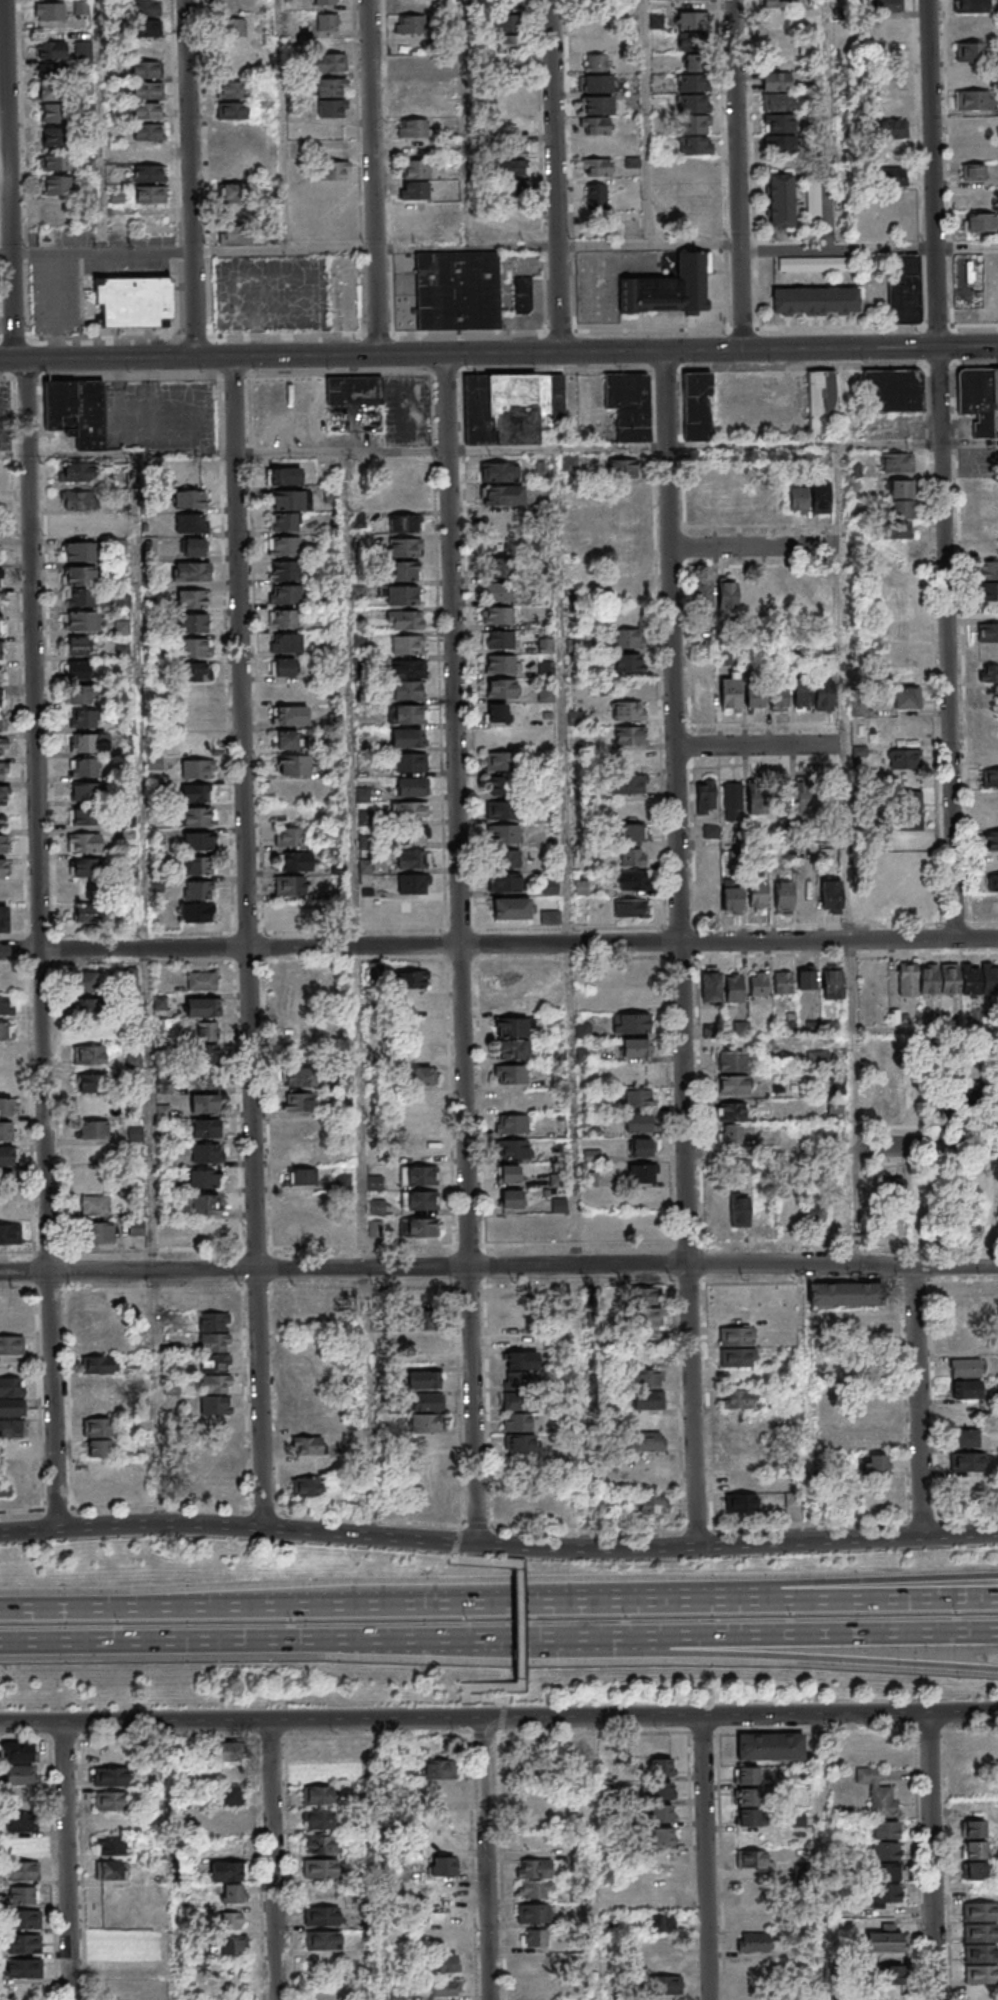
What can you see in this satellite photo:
building: (326, 2)
building: (773, 4)
building: (888, 5)
building: (971, 5)
building: (81, 7)
building: (145, 7)
building: (54, 13)
building: (692, 20)
building: (327, 22)
building: (508, 22)
building: (410, 23)
building: (234, 27)
building: (145, 28)
building: (888, 29)
building: (592, 40)
building: (693, 41)
building: (507, 43)
building: (82, 49)
building: (50, 50)
building: (971, 51)
building: (887, 54)
building: (328, 62)
building: (595, 63)
building: (410, 66)
building: (51, 70)
building: (145, 70)
road: (831, 74)
building: (967, 74)
building: (776, 81)
building: (595, 83)
building: (696, 84)
building: (330, 87)
building: (146, 90)
building: (49, 91)
building: (232, 91)
building: (974, 99)
building: (778, 102)
building: (598, 105)
building: (407, 106)
building: (697, 106)
building: (331, 108)
building: (147, 110)
building: (53, 112)
building: (230, 113)
road: (648, 123)
building: (779, 123)
road: (473, 124)
building: (596, 124)
road: (286, 125)
road: (102, 126)
building: (413, 127)
building: (893, 129)
building: (148, 131)
building: (52, 136)
building: (779, 143)
building: (698, 147)
building: (515, 149)
building: (149, 152)
building: (56, 161)
road: (917, 165)
road: (946, 165)
building: (599, 166)
building: (511, 167)
building: (414, 169)
building: (335, 170)
building: (973, 171)
building: (149, 173)
road: (742, 175)
road: (554, 176)
building: (892, 176)
road: (377, 177)
road: (189, 179)
building: (57, 186)
building: (408, 191)
building: (515, 191)
building: (150, 194)
building: (234, 194)
building: (596, 196)
building: (978, 197)
building: (781, 200)
building: (813, 204)
building: (416, 211)
road: (937, 222)
building: (980, 222)
building: (415, 231)
building: (233, 235)
road: (968, 245)
road: (650, 246)
road: (798, 249)
road: (286, 250)
building: (670, 287)
building: (905, 288)
building: (460, 292)
building: (521, 296)
building: (133, 300)
building: (815, 300)
road: (56, 305)
road: (542, 336)
road: (43, 343)
road: (508, 353)
road: (9, 360)
building: (355, 390)
building: (893, 390)
building: (979, 399)
building: (821, 400)
building: (630, 405)
building: (698, 406)
building: (513, 407)
building: (76, 410)
road: (616, 449)
road: (80, 457)
building: (897, 461)
building: (622, 468)
building: (498, 471)
building: (77, 472)
building: (283, 477)
building: (502, 494)
building: (331, 495)
building: (820, 496)
building: (190, 498)
building: (797, 498)
building: (900, 499)
building: (290, 500)
building: (77, 501)
building: (622, 517)
building: (283, 522)
building: (191, 523)
building: (403, 523)
building: (78, 528)
building: (987, 528)
building: (901, 541)
building: (284, 545)
building: (193, 547)
building: (404, 547)
road: (757, 547)
building: (78, 553)
building: (624, 566)
building: (283, 570)
building: (988, 570)
building: (191, 571)
building: (403, 572)
building: (78, 577)
building: (0, 578)
building: (989, 591)
building: (498, 592)
building: (824, 593)
building: (285, 594)
building: (727, 594)
building: (897, 594)
building: (702, 595)
building: (751, 595)
building: (403, 596)
building: (78, 599)
building: (192, 599)
building: (497, 615)
building: (283, 618)
building: (407, 620)
building: (81, 622)
building: (328, 622)
building: (193, 623)
building: (1, 626)
building: (497, 639)
building: (628, 640)
building: (285, 643)
building: (407, 645)
building: (77, 647)
building: (194, 647)
building: (0, 650)
building: (988, 652)
building: (902, 654)
building: (629, 663)
building: (500, 664)
building: (283, 667)
building: (545, 668)
building: (409, 669)
building: (76, 671)
building: (193, 673)
building: (0, 675)
building: (500, 688)
building: (408, 690)
building: (289, 691)
road: (952, 692)
building: (545, 693)
building: (729, 693)
building: (802, 694)
building: (824, 694)
building: (81, 696)
building: (905, 697)
building: (1, 698)
building: (754, 698)
building: (778, 698)
building: (627, 711)
building: (495, 712)
building: (406, 714)
building: (289, 716)
building: (84, 720)
building: (1, 723)
building: (629, 735)
building: (405, 738)
building: (286, 741)
building: (89, 743)
road: (763, 745)
building: (3, 747)
building: (990, 757)
building: (904, 758)
building: (501, 760)
building: (409, 762)
road: (32, 764)
building: (294, 766)
building: (85, 767)
building: (197, 768)
building: (3, 771)
building: (990, 778)
building: (629, 784)
building: (502, 785)
building: (411, 786)
building: (86, 792)
building: (197, 792)
building: (2, 795)
building: (705, 796)
road: (848, 796)
building: (757, 797)
building: (811, 797)
building: (732, 800)
building: (630, 809)
building: (990, 809)
building: (410, 810)
building: (502, 810)
building: (905, 810)
building: (85, 816)
building: (198, 816)
building: (632, 832)
building: (503, 833)
building: (412, 835)
building: (289, 836)
building: (550, 837)
building: (198, 841)
building: (2, 843)
building: (84, 843)
building: (632, 857)
building: (411, 858)
building: (506, 859)
building: (296, 861)
building: (197, 864)
building: (2, 867)
building: (85, 867)
building: (632, 880)
building: (706, 880)
building: (504, 882)
building: (412, 883)
building: (291, 885)
building: (198, 889)
building: (82, 890)
building: (4, 892)
building: (992, 892)
building: (831, 895)
building: (732, 896)
building: (757, 897)
building: (783, 897)
building: (511, 908)
building: (631, 908)
building: (406, 909)
building: (196, 912)
building: (85, 913)
building: (550, 916)
building: (4, 919)
road: (840, 942)
road: (245, 943)
road: (341, 947)
road: (683, 948)
road: (459, 949)
building: (529, 972)
building: (129, 977)
building: (928, 978)
building: (950, 978)
building: (412, 979)
building: (805, 979)
building: (979, 979)
building: (201, 980)
building: (908, 980)
building: (83, 981)
building: (782, 982)
building: (758, 983)
building: (832, 983)
building: (711, 987)
building: (734, 987)
road: (150, 990)
road: (361, 995)
road: (574, 999)
building: (87, 1005)
building: (6, 1006)
building: (201, 1007)
building: (630, 1022)
building: (510, 1026)
building: (91, 1029)
building: (583, 1030)
building: (6, 1031)
building: (205, 1032)
building: (635, 1047)
building: (511, 1048)
building: (89, 1056)
building: (734, 1061)
building: (510, 1073)
building: (636, 1073)
building: (422, 1076)
building: (298, 1078)
building: (206, 1081)
building: (90, 1085)
building: (732, 1085)
building: (636, 1098)
building: (890, 1101)
building: (297, 1102)
building: (205, 1105)
building: (6, 1106)
building: (730, 1111)
building: (637, 1123)
building: (511, 1124)
building: (299, 1127)
building: (205, 1129)
building: (93, 1130)
building: (6, 1131)
building: (732, 1133)
road: (928, 1146)
building: (640, 1148)
building: (510, 1149)
building: (205, 1153)
building: (6, 1157)
building: (507, 1173)
building: (640, 1173)
building: (416, 1175)
building: (299, 1177)
building: (204, 1178)
building: (6, 1181)
building: (983, 1188)
building: (95, 1191)
building: (511, 1199)
building: (418, 1200)
building: (893, 1203)
building: (200, 1204)
building: (7, 1206)
building: (377, 1206)
road: (859, 1207)
building: (739, 1210)
building: (845, 1215)
building: (416, 1227)
building: (511, 1228)
building: (99, 1232)
building: (204, 1232)
building: (9, 1233)
road: (499, 1266)
building: (858, 1294)
building: (167, 1298)
building: (647, 1316)
building: (513, 1318)
building: (867, 1318)
building: (315, 1323)
building: (11, 1324)
building: (737, 1335)
building: (428, 1340)
building: (12, 1345)
building: (214, 1353)
building: (736, 1357)
building: (97, 1364)
building: (964, 1368)
building: (424, 1379)
building: (647, 1379)
building: (97, 1385)
building: (12, 1386)
building: (965, 1389)
building: (518, 1390)
building: (648, 1400)
road: (921, 1402)
building: (304, 1403)
road: (811, 1403)
building: (12, 1407)
building: (98, 1407)
building: (737, 1409)
building: (425, 1412)
building: (12, 1427)
building: (98, 1427)
building: (966, 1437)
building: (647, 1441)
building: (521, 1443)
building: (306, 1445)
building: (98, 1448)
building: (741, 1460)
building: (966, 1461)
building: (875, 1462)
building: (305, 1465)
building: (13, 1469)
building: (306, 1487)
building: (5, 1489)
building: (740, 1502)
building: (652, 1503)
road: (228, 1526)
road: (459, 1534)
road: (727, 1544)
road: (455, 1549)
road: (881, 1583)
road: (882, 1603)
road: (670, 1606)
road: (287, 1610)
road: (830, 1638)
road: (536, 1641)
road: (518, 1642)
road: (205, 1644)
road: (830, 1658)
road: (502, 1708)
road: (749, 1715)
road: (250, 1720)
road: (502, 1727)
building: (979, 1744)
building: (770, 1746)
building: (17, 1752)
building: (110, 1752)
building: (226, 1763)
building: (661, 1767)
building: (438, 1769)
building: (312, 1770)
building: (745, 1775)
building: (19, 1776)
building: (110, 1776)
building: (972, 1787)
building: (659, 1791)
building: (876, 1793)
building: (439, 1794)
building: (229, 1795)
building: (316, 1795)
building: (20, 1798)
building: (109, 1800)
building: (753, 1811)
building: (661, 1813)
building: (317, 1819)
building: (227, 1821)
building: (22, 1823)
building: (973, 1829)
building: (662, 1837)
building: (885, 1840)
building: (319, 1844)
building: (110, 1845)
building: (23, 1847)
building: (975, 1849)
road: (934, 1856)
road: (823, 1857)
road: (709, 1858)
road: (487, 1859)
building: (751, 1859)
road: (275, 1860)
road: (71, 1861)
building: (441, 1866)
building: (319, 1868)
building: (534, 1868)
building: (110, 1869)
building: (226, 1870)
building: (975, 1870)
building: (23, 1871)
building: (536, 1889)
building: (232, 1893)
building: (887, 1893)
building: (24, 1895)
building: (980, 1911)
building: (533, 1913)
building: (321, 1915)
building: (26, 1919)
building: (231, 1921)
building: (662, 1922)
building: (980, 1933)
road: (385, 1938)
building: (536, 1938)
building: (884, 1938)
building: (322, 1940)
building: (753, 1942)
building: (24, 1944)
building: (230, 1945)
building: (110, 1947)
building: (980, 1953)
building: (532, 1962)
building: (447, 1963)
building: (24, 1968)
building: (891, 1974)
building: (981, 1974)
building: (665, 1985)
building: (533, 1987)
building: (445, 1988)

